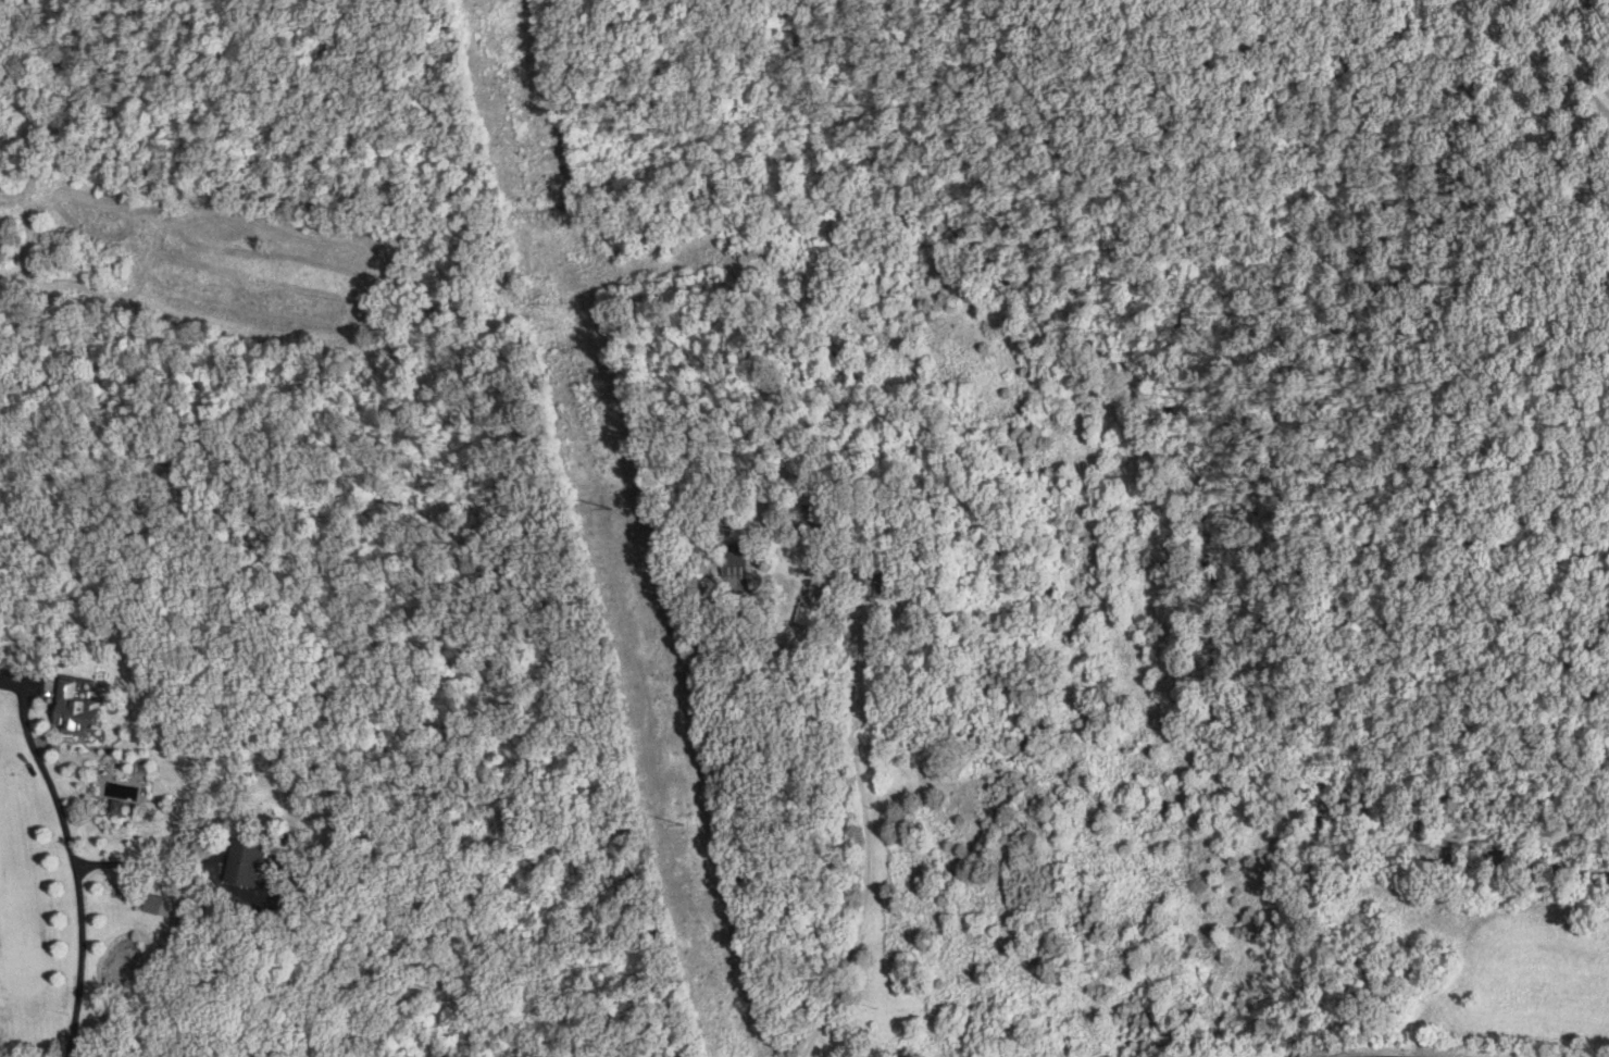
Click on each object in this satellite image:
road: (1571, 52)
building: (734, 568)
building: (886, 587)
building: (80, 713)
road: (858, 817)
road: (75, 859)
building: (247, 863)
building: (162, 906)

